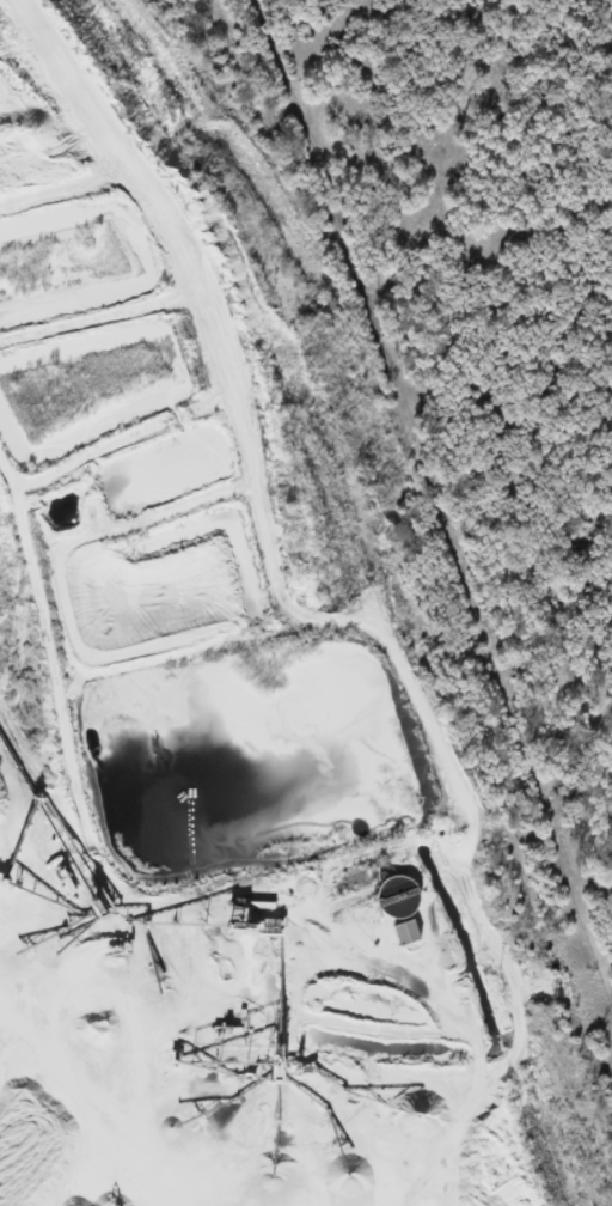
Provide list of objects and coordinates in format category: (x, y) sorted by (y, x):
quarry: (208, 707)

